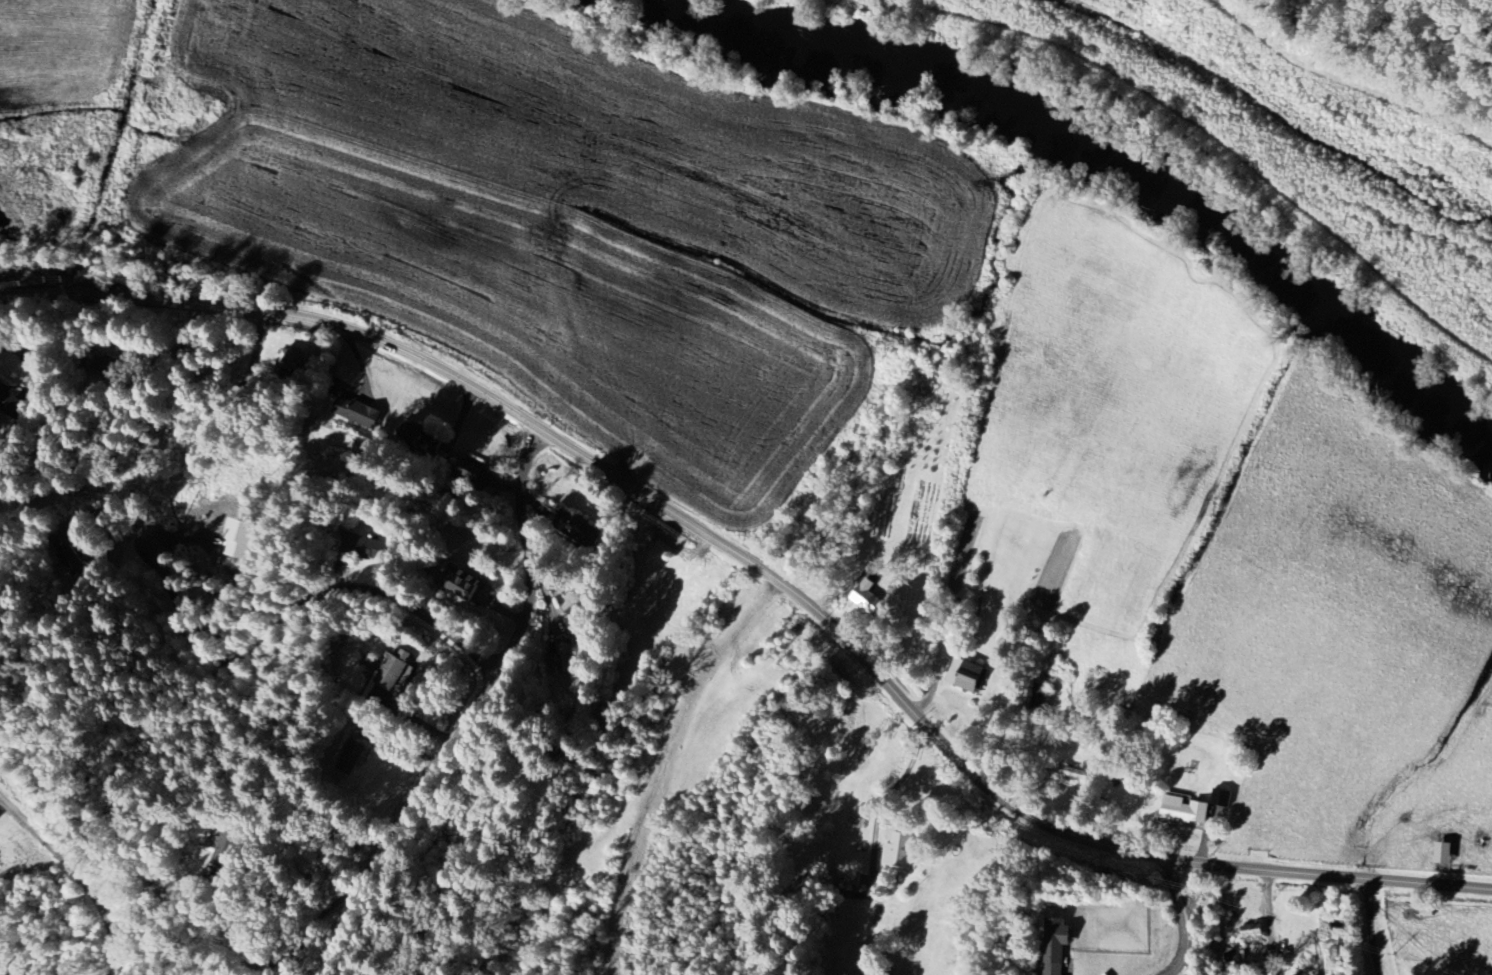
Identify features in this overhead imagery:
river: (856, 70)
river: (1280, 283)
building: (291, 364)
building: (353, 411)
building: (414, 434)
road: (113, 511)
building: (578, 529)
road: (764, 570)
building: (456, 581)
building: (866, 598)
road: (304, 606)
building: (565, 656)
building: (391, 671)
building: (964, 674)
road: (475, 711)
building: (1221, 798)
road: (883, 801)
building: (1184, 810)
building: (897, 850)
building: (1442, 852)
road: (79, 874)
building: (848, 881)
road: (1185, 919)
road: (1370, 926)
building: (1252, 933)
building: (1054, 945)
road: (290, 956)
building: (1271, 956)

